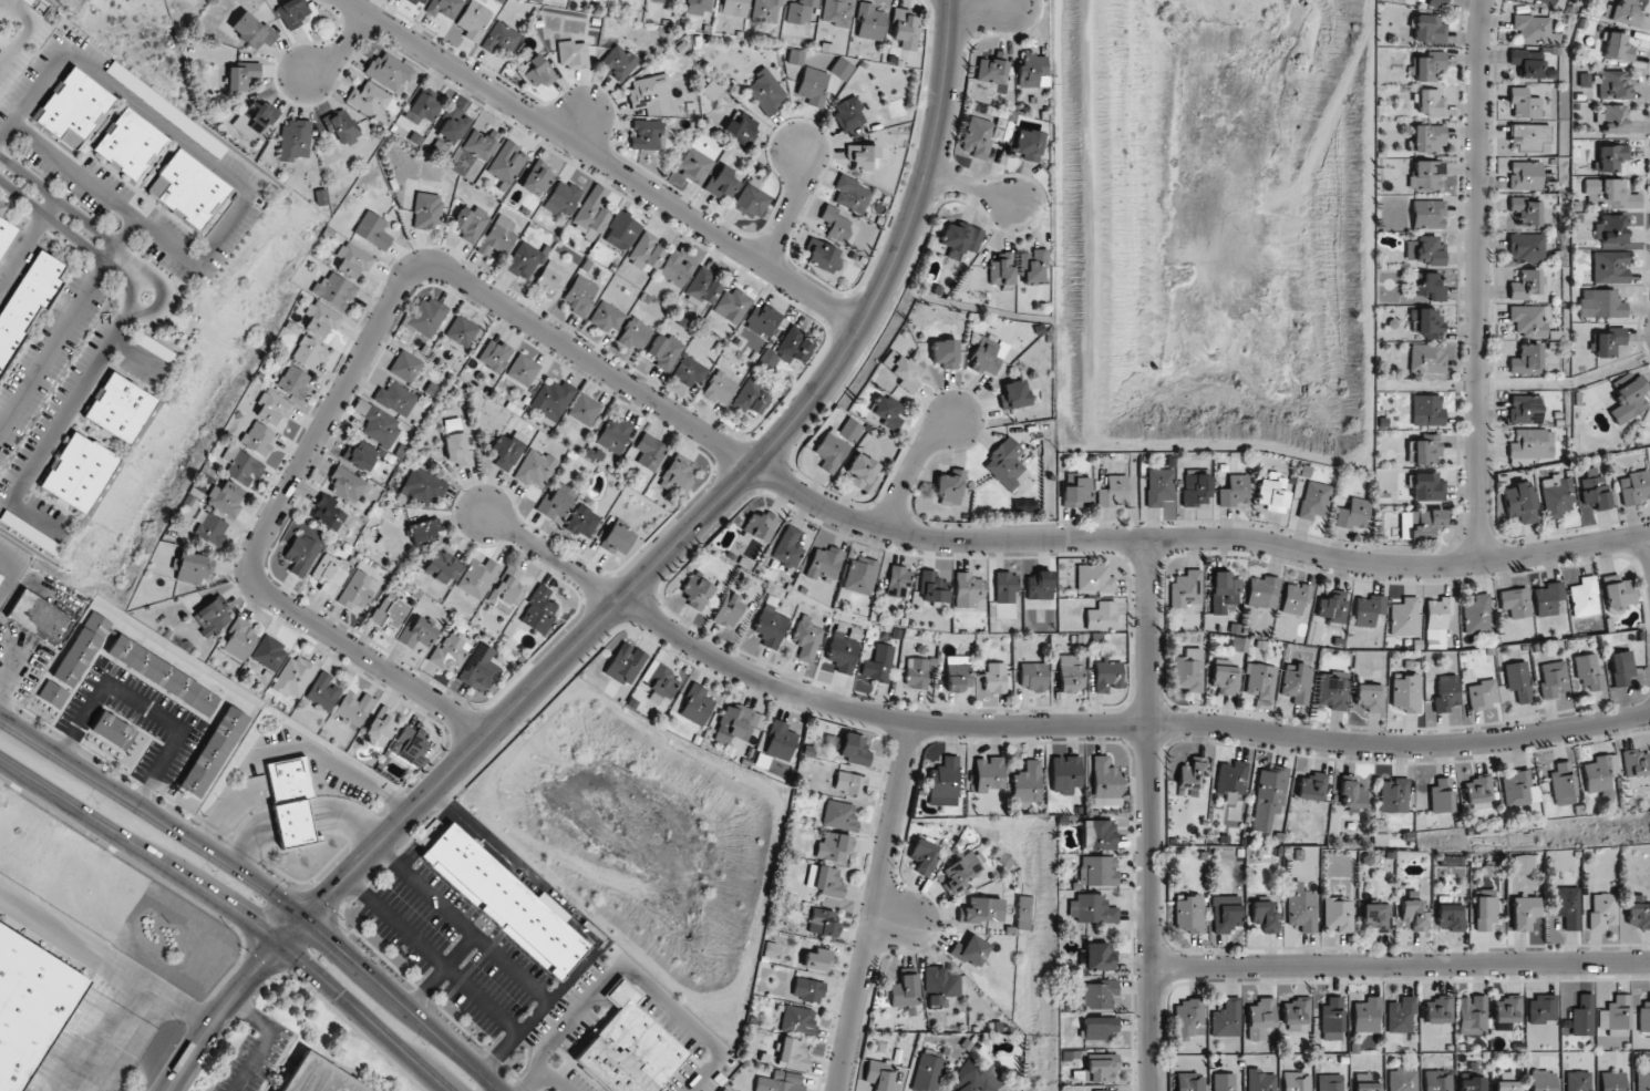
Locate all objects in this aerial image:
building: (658, 0)
building: (1547, 1)
building: (419, 2)
road: (997, 3)
building: (1436, 3)
building: (699, 7)
building: (443, 8)
building: (733, 8)
building: (765, 10)
building: (800, 11)
building: (292, 12)
building: (835, 12)
building: (1621, 12)
building: (473, 20)
building: (869, 22)
building: (1429, 28)
building: (1533, 28)
building: (904, 29)
building: (251, 31)
road: (23, 32)
building: (501, 38)
building: (1616, 47)
road: (343, 49)
building: (573, 54)
building: (795, 56)
building: (618, 62)
building: (1527, 62)
building: (1426, 65)
building: (991, 68)
building: (841, 69)
building: (1032, 70)
building: (388, 71)
building: (537, 71)
building: (243, 74)
building: (1611, 85)
building: (812, 86)
building: (711, 90)
building: (765, 92)
building: (649, 94)
building: (369, 101)
building: (1430, 103)
building: (1524, 103)
building: (421, 107)
building: (73, 109)
building: (848, 113)
building: (255, 119)
building: (1611, 119)
building: (340, 125)
building: (453, 125)
building: (742, 128)
building: (646, 134)
building: (977, 136)
building: (1530, 137)
building: (1427, 138)
building: (293, 140)
building: (481, 143)
building: (128, 144)
building: (1028, 144)
building: (860, 155)
building: (1610, 156)
road: (602, 161)
building: (507, 163)
building: (694, 165)
building: (1426, 174)
building: (1525, 175)
building: (536, 176)
building: (721, 183)
road: (970, 186)
building: (187, 189)
building: (1611, 193)
building: (850, 194)
building: (561, 198)
building: (751, 199)
building: (1, 207)
building: (426, 209)
building: (1527, 210)
building: (590, 213)
road: (788, 213)
building: (1427, 214)
road: (69, 223)
building: (470, 223)
building: (834, 223)
building: (3, 229)
building: (372, 229)
building: (1610, 229)
building: (621, 230)
building: (497, 236)
building: (960, 238)
building: (1526, 247)
building: (1425, 250)
building: (647, 251)
building: (821, 255)
building: (351, 259)
building: (524, 260)
building: (1033, 265)
building: (1609, 267)
building: (674, 269)
building: (1001, 270)
building: (550, 279)
road: (157, 280)
road: (1478, 280)
building: (1526, 285)
building: (702, 287)
building: (1429, 287)
building: (334, 289)
building: (579, 296)
building: (25, 299)
building: (1599, 303)
building: (731, 305)
building: (426, 317)
building: (606, 317)
building: (320, 319)
building: (762, 320)
building: (1529, 320)
building: (1425, 321)
building: (461, 330)
building: (635, 333)
building: (1607, 342)
building: (788, 346)
building: (663, 351)
building: (308, 352)
building: (945, 353)
building: (494, 354)
building: (987, 354)
building: (1426, 358)
building: (1526, 360)
building: (404, 366)
building: (522, 369)
building: (901, 370)
building: (689, 371)
building: (293, 381)
building: (720, 388)
building: (1013, 394)
building: (750, 397)
building: (1628, 397)
building: (394, 398)
building: (551, 399)
building: (272, 406)
building: (118, 408)
building: (1524, 409)
building: (584, 410)
building: (1426, 410)
building: (886, 411)
building: (377, 424)
building: (613, 433)
road: (707, 434)
building: (257, 439)
building: (837, 444)
building: (1532, 444)
building: (456, 445)
building: (506, 450)
road: (765, 450)
building: (1424, 450)
building: (649, 451)
building: (359, 455)
building: (1004, 464)
building: (241, 465)
road: (912, 466)
building: (80, 472)
building: (862, 472)
building: (674, 480)
building: (344, 484)
building: (423, 486)
building: (1158, 486)
building: (1425, 486)
building: (949, 487)
building: (1633, 487)
building: (1196, 488)
building: (1594, 490)
building: (1075, 491)
building: (1235, 491)
building: (1113, 492)
building: (1272, 492)
building: (1556, 495)
building: (225, 497)
building: (1313, 500)
building: (555, 501)
building: (1518, 502)
building: (327, 513)
building: (1352, 514)
building: (581, 521)
building: (759, 525)
building: (212, 528)
building: (424, 531)
building: (28, 533)
building: (616, 537)
building: (787, 547)
building: (301, 554)
road: (550, 557)
building: (824, 564)
building: (442, 566)
building: (192, 567)
building: (330, 573)
building: (859, 575)
building: (0, 577)
building: (477, 578)
building: (1094, 578)
building: (897, 581)
building: (1039, 586)
building: (1004, 587)
building: (931, 588)
building: (357, 591)
building: (695, 591)
building: (968, 591)
building: (1224, 591)
building: (1261, 591)
building: (506, 594)
building: (1618, 594)
building: (1584, 597)
building: (1295, 598)
building: (1547, 598)
building: (1514, 603)
building: (1330, 608)
building: (1368, 609)
building: (538, 610)
building: (728, 610)
building: (389, 611)
building: (1476, 615)
building: (213, 616)
building: (1101, 616)
building: (1403, 617)
building: (38, 618)
building: (1436, 621)
building: (770, 626)
building: (416, 634)
building: (806, 638)
building: (239, 639)
building: (82, 649)
building: (843, 650)
building: (269, 652)
building: (450, 652)
building: (625, 663)
building: (878, 663)
building: (479, 667)
building: (1620, 668)
building: (1188, 670)
building: (1586, 671)
building: (916, 672)
building: (1070, 672)
building: (162, 675)
building: (1032, 676)
building: (1107, 676)
building: (292, 677)
building: (958, 677)
building: (994, 677)
building: (1225, 679)
building: (1551, 679)
building: (658, 681)
building: (1259, 681)
building: (1517, 681)
building: (1296, 682)
building: (1331, 690)
building: (322, 691)
building: (1404, 692)
building: (52, 693)
building: (1445, 693)
building: (1482, 694)
building: (1368, 697)
building: (695, 704)
building: (353, 707)
building: (381, 723)
building: (734, 723)
road: (1122, 723)
building: (113, 731)
building: (780, 741)
building: (410, 744)
building: (854, 749)
building: (213, 752)
building: (1636, 762)
building: (1064, 773)
building: (1192, 773)
building: (988, 774)
building: (1600, 775)
building: (1230, 780)
building: (942, 782)
building: (1025, 782)
building: (1104, 782)
building: (849, 783)
building: (1561, 783)
building: (1311, 786)
building: (1519, 789)
building: (1478, 790)
building: (1352, 794)
building: (1393, 795)
building: (1441, 795)
building: (1268, 797)
building: (291, 802)
building: (839, 815)
road: (1149, 815)
building: (1096, 834)
building: (834, 847)
road: (140, 848)
building: (922, 856)
building: (1450, 861)
building: (1522, 864)
building: (962, 871)
building: (1097, 871)
road: (348, 873)
building: (824, 881)
road: (262, 885)
building: (505, 902)
road: (873, 905)
building: (1568, 906)
building: (1300, 907)
building: (1090, 908)
building: (981, 909)
building: (1485, 909)
building: (1601, 910)
building: (1024, 912)
building: (1413, 912)
building: (1524, 912)
building: (1637, 912)
building: (1188, 913)
building: (1225, 914)
building: (1337, 914)
building: (1264, 916)
building: (1451, 916)
building: (1375, 917)
traffic signals: (305, 918)
building: (823, 922)
traffic signals: (279, 943)
building: (969, 950)
building: (1097, 957)
building: (816, 958)
road: (1400, 964)
road: (631, 974)
road: (94, 979)
building: (939, 986)
building: (807, 990)
building: (904, 991)
building: (1097, 995)
building: (29, 1005)
building: (1541, 1009)
building: (1437, 1010)
building: (1507, 1010)
building: (1296, 1013)
building: (1615, 1013)
road: (219, 1015)
road: (365, 1015)
building: (1367, 1015)
building: (1400, 1015)
building: (1472, 1015)
building: (1582, 1016)
building: (1644, 1016)
building: (1260, 1018)
building: (797, 1019)
building: (1188, 1019)
building: (1226, 1019)
building: (1331, 1019)
building: (1100, 1027)
road: (265, 1039)
building: (630, 1047)
building: (793, 1053)
building: (1099, 1068)
building: (927, 1070)
building: (878, 1074)
building: (319, 1077)
building: (1402, 1079)
building: (1259, 1080)
building: (1543, 1080)
building: (1642, 1080)
road: (556, 1081)
building: (979, 1081)
building: (1296, 1081)
building: (1436, 1081)
building: (1577, 1081)
building: (1611, 1081)
building: (778, 1082)
building: (1189, 1082)
building: (1224, 1082)
building: (1330, 1082)
building: (1364, 1082)
building: (1506, 1082)
building: (1471, 1083)
building: (1105, 1090)

